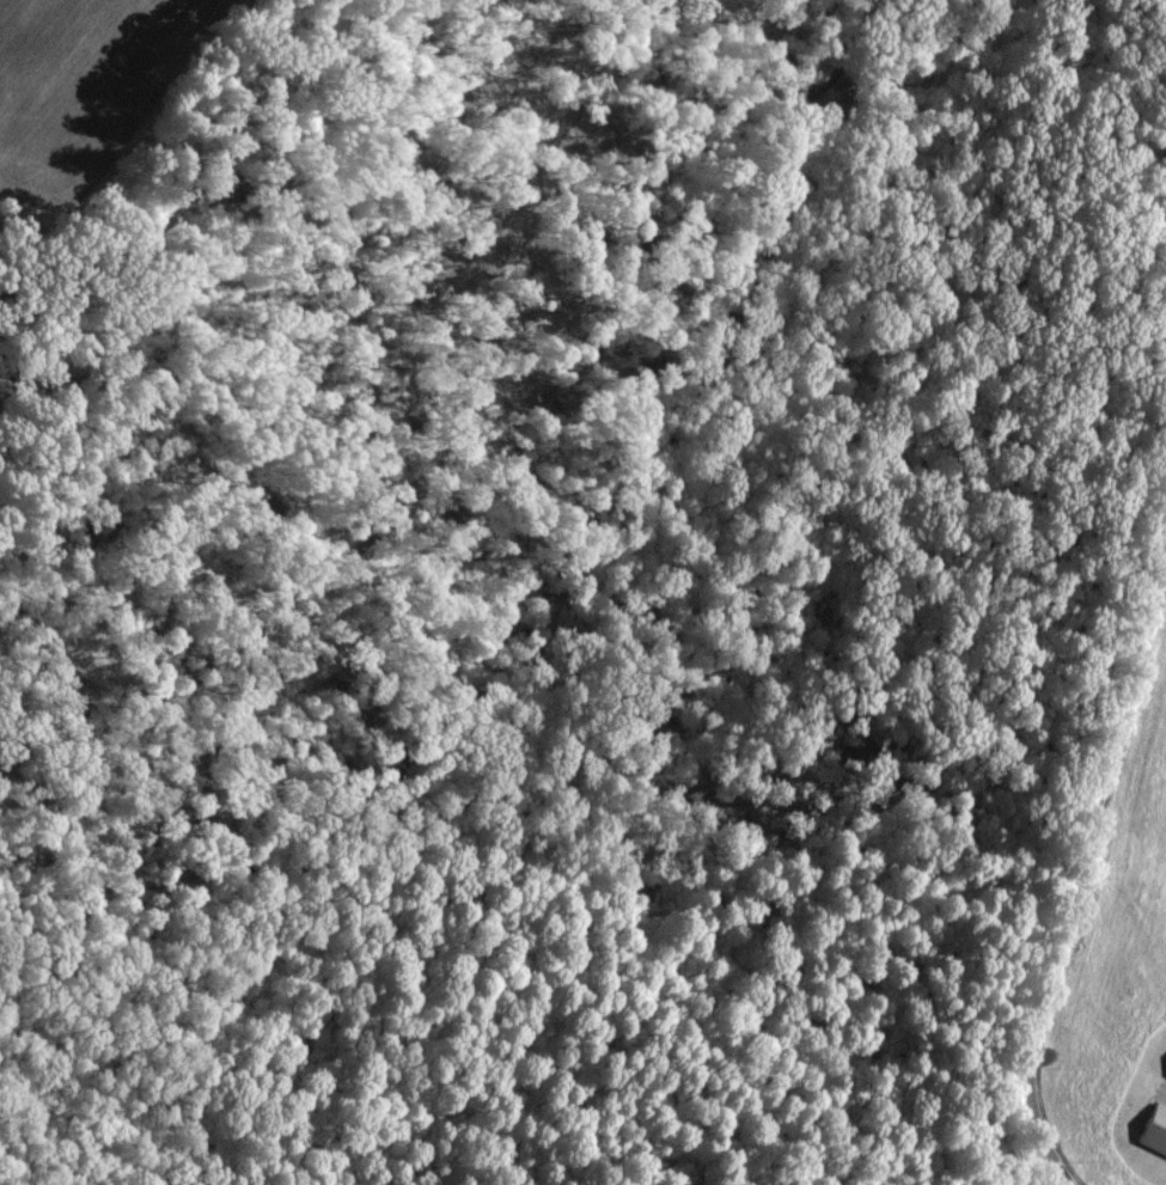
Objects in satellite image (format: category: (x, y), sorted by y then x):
road: (1076, 871)

